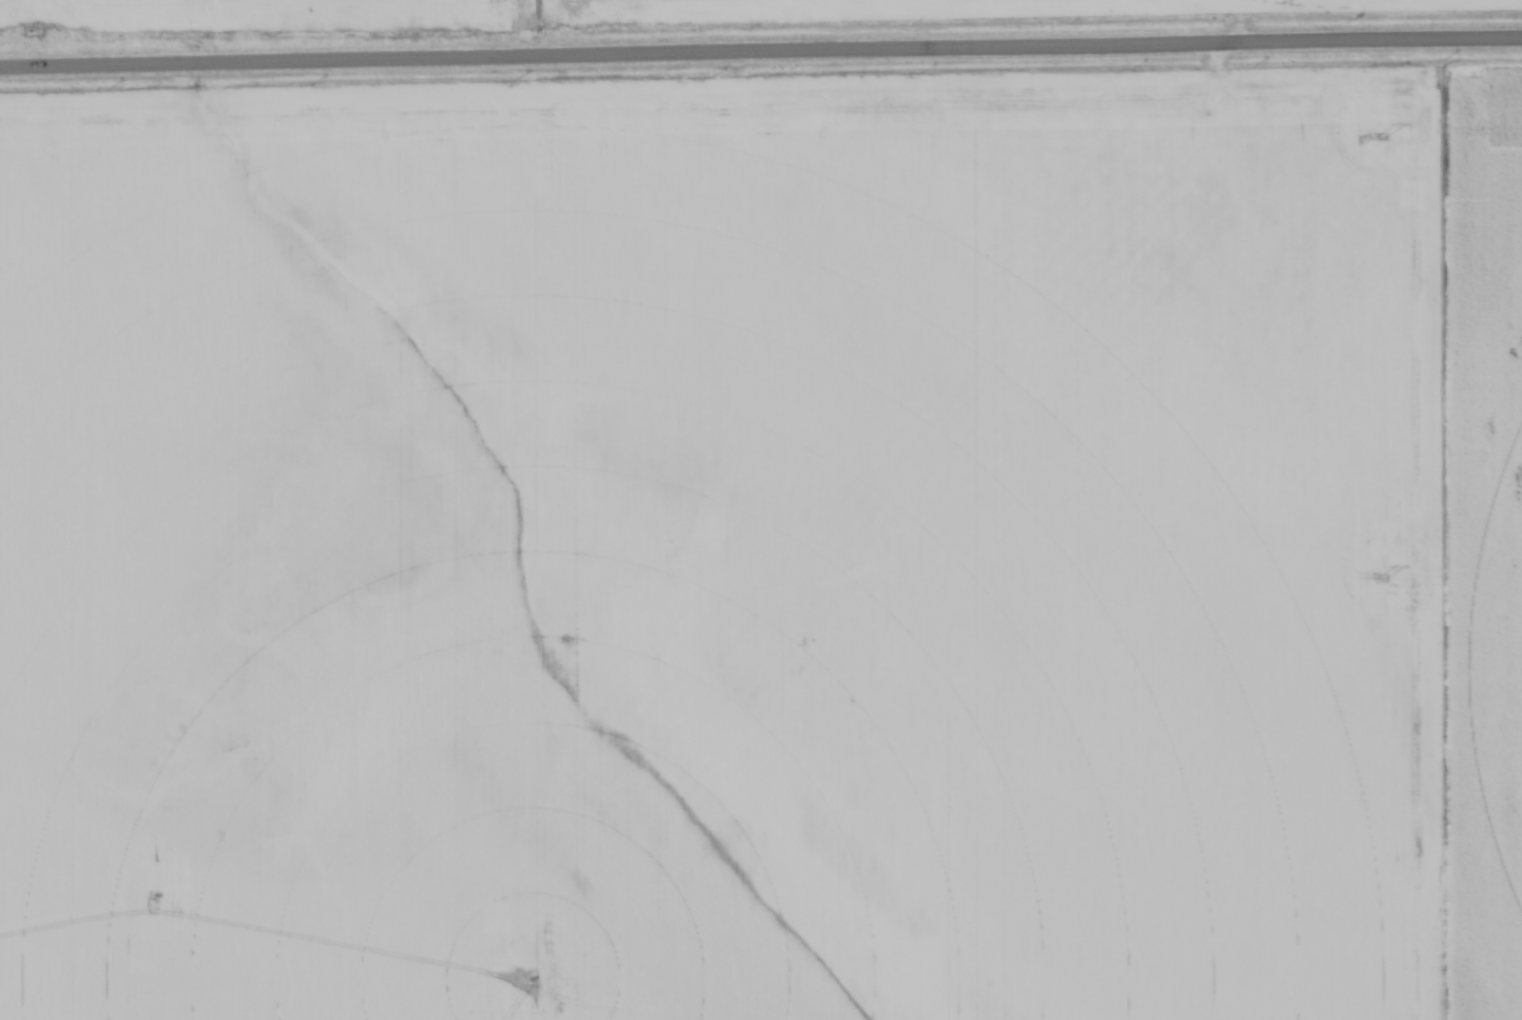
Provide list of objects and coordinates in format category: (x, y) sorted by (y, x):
road: (760, 58)
power tower: (1381, 136)
power tower: (1379, 577)

